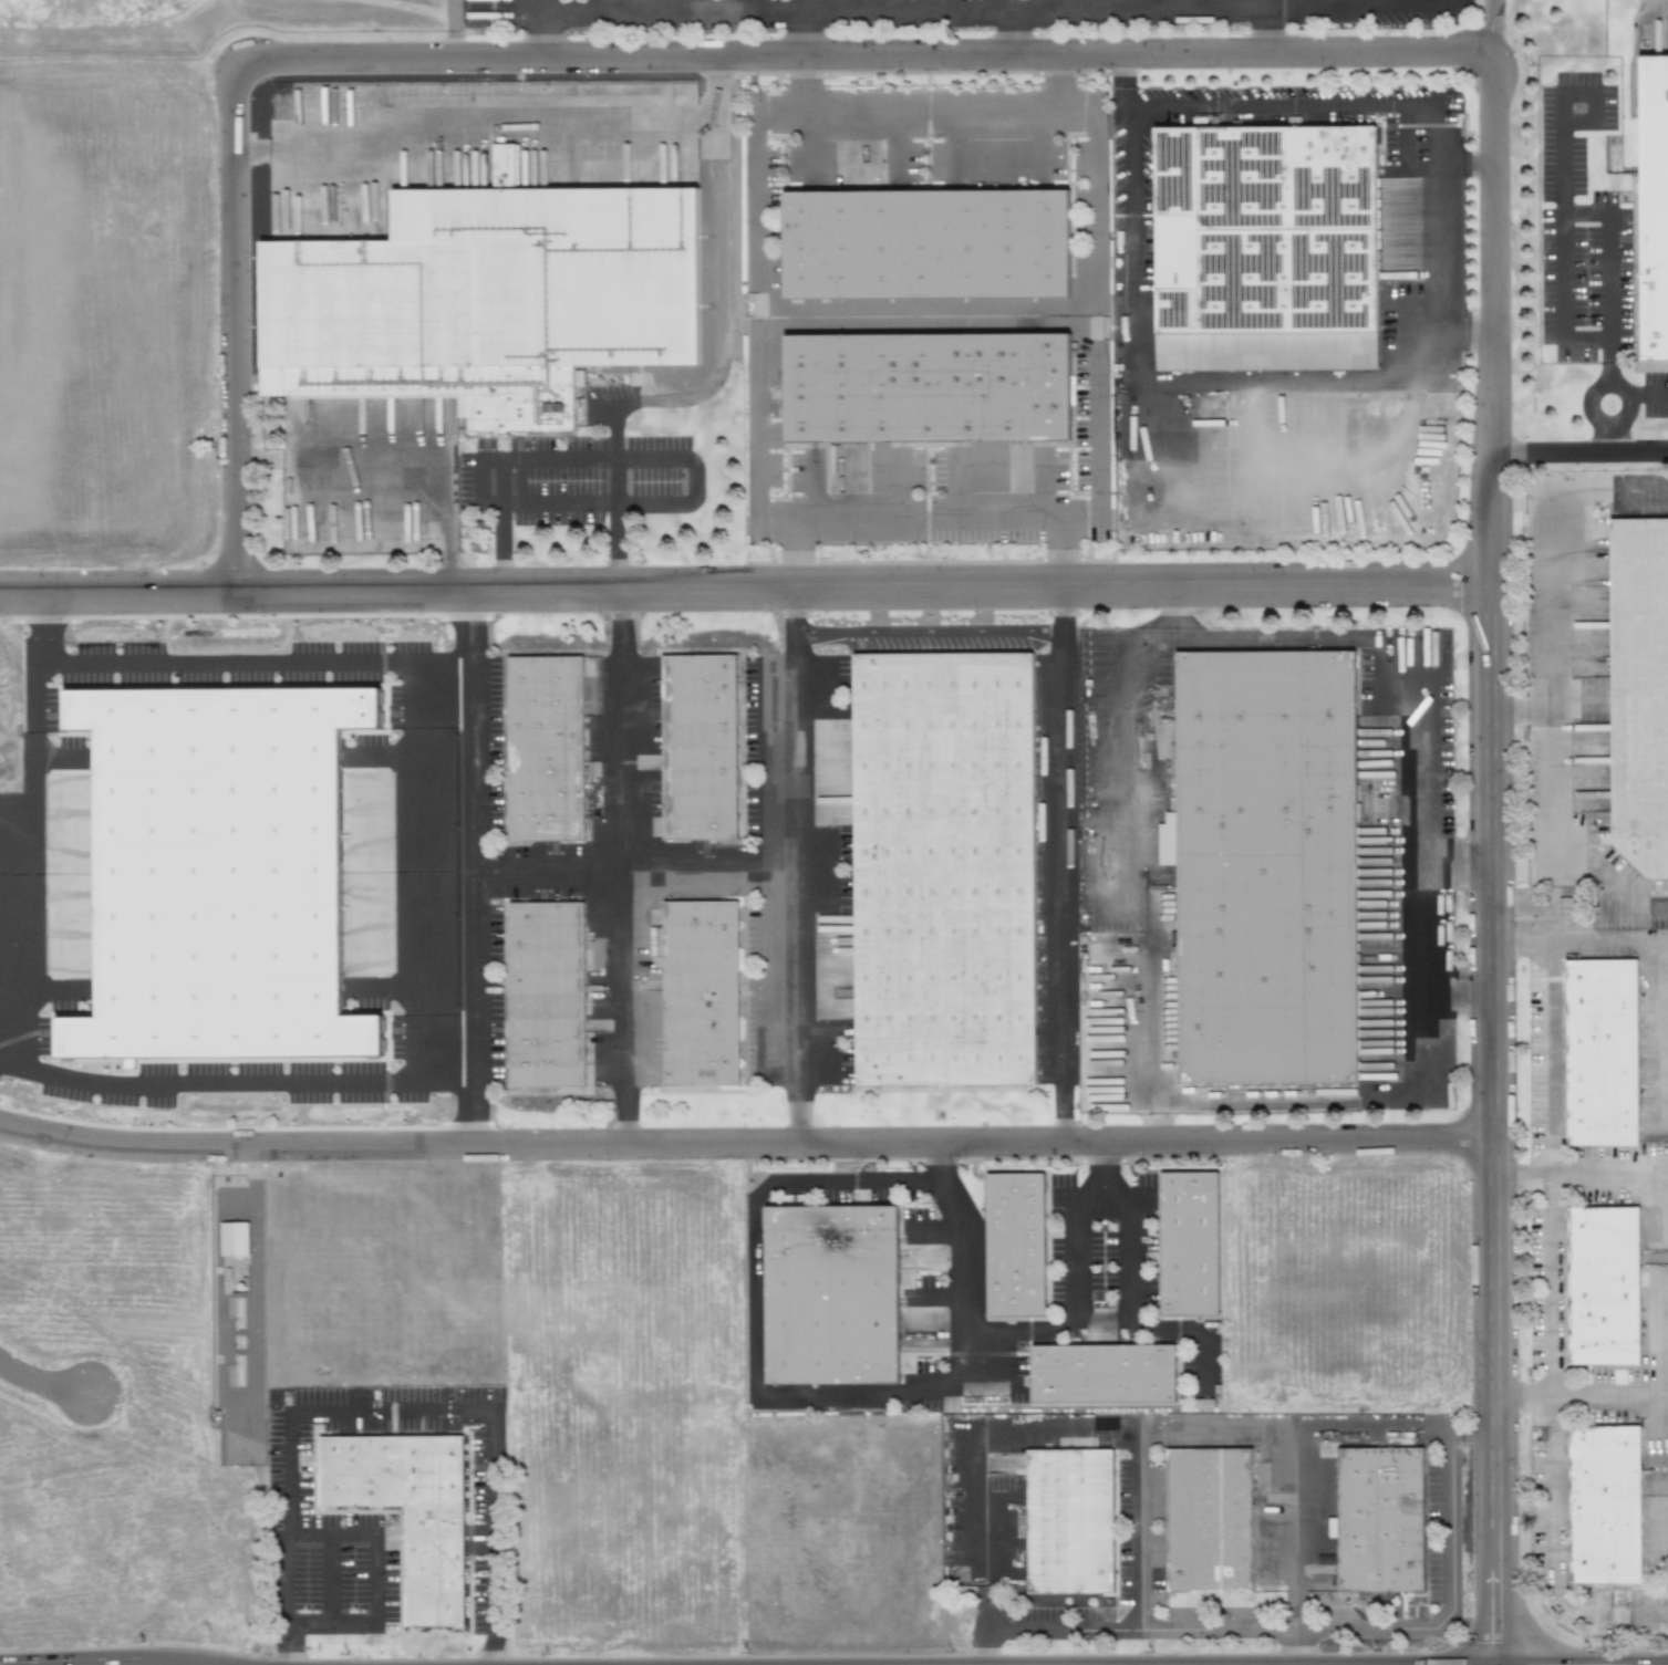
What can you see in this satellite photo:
road: (1243, 1)
road: (995, 2)
road: (997, 4)
road: (1484, 27)
road: (1262, 28)
road: (531, 29)
road: (1018, 29)
road: (801, 32)
road: (864, 56)
road: (1399, 110)
road: (1593, 110)
road: (928, 113)
road: (755, 196)
road: (1090, 198)
building: (1648, 202)
building: (1271, 219)
road: (1608, 225)
building: (922, 238)
road: (715, 271)
building: (484, 281)
road: (1560, 299)
road: (919, 320)
road: (236, 331)
building: (919, 382)
road: (1163, 384)
road: (1627, 403)
road: (1581, 448)
road: (549, 458)
road: (476, 482)
road: (614, 496)
road: (1608, 500)
road: (597, 503)
road: (931, 520)
road: (745, 590)
road: (37, 629)
road: (256, 664)
road: (1548, 684)
building: (1637, 690)
building: (706, 752)
building: (548, 753)
building: (592, 769)
road: (1150, 852)
road: (34, 854)
building: (1258, 861)
road: (1458, 863)
road: (1492, 863)
road: (638, 865)
road: (1059, 865)
road: (1421, 865)
road: (801, 866)
road: (621, 867)
building: (937, 867)
road: (475, 868)
building: (217, 872)
road: (425, 873)
road: (1607, 891)
road: (1581, 940)
road: (1455, 987)
building: (708, 1001)
building: (551, 1003)
building: (1605, 1055)
road: (1552, 1057)
road: (235, 1084)
road: (746, 1145)
road: (1582, 1172)
road: (877, 1180)
building: (234, 1239)
building: (1188, 1248)
building: (1014, 1249)
road: (965, 1251)
building: (924, 1259)
road: (752, 1282)
road: (1550, 1286)
road: (1126, 1289)
building: (1605, 1289)
building: (828, 1300)
road: (967, 1340)
building: (1101, 1378)
road: (40, 1383)
road: (1607, 1396)
road: (289, 1437)
road: (1447, 1442)
road: (983, 1475)
building: (1608, 1510)
building: (414, 1521)
building: (1380, 1523)
building: (1208, 1524)
building: (1069, 1526)
road: (1292, 1527)
road: (1551, 1528)
road: (1132, 1532)
road: (491, 1538)
road: (329, 1579)
road: (373, 1579)
road: (1232, 1626)
road: (1058, 1631)

